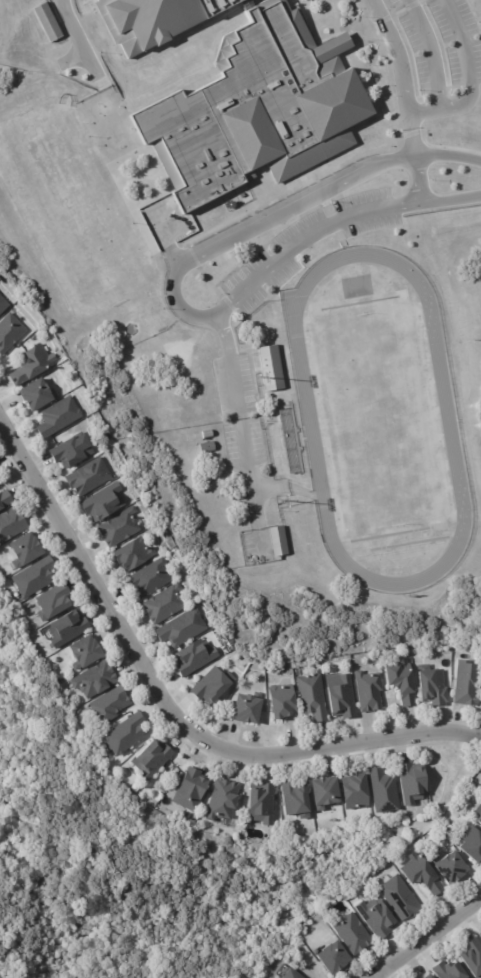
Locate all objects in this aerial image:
building: (46, 21)
road: (82, 39)
road: (425, 54)
road: (393, 56)
road: (471, 80)
building: (241, 94)
road: (414, 159)
road: (452, 200)
road: (287, 207)
park: (70, 208)
road: (309, 239)
road: (167, 243)
building: (2, 304)
building: (9, 332)
building: (31, 365)
building: (270, 368)
building: (35, 395)
building: (57, 417)
park: (378, 417)
road: (237, 432)
building: (206, 434)
building: (207, 448)
building: (71, 451)
building: (87, 477)
building: (5, 499)
building: (103, 502)
building: (11, 524)
building: (119, 527)
building: (278, 541)
building: (24, 551)
building: (133, 554)
building: (33, 578)
building: (149, 578)
building: (52, 602)
building: (164, 604)
building: (67, 629)
building: (181, 629)
building: (84, 653)
building: (194, 658)
building: (94, 680)
building: (402, 683)
building: (467, 684)
building: (212, 686)
building: (432, 688)
building: (368, 691)
building: (341, 696)
building: (311, 698)
building: (281, 703)
building: (108, 706)
road: (167, 709)
building: (246, 710)
building: (124, 735)
building: (151, 760)
building: (412, 783)
building: (190, 790)
building: (383, 792)
building: (355, 793)
building: (324, 794)
building: (222, 801)
building: (294, 801)
building: (262, 805)
building: (478, 811)
building: (479, 823)
building: (471, 846)
building: (449, 869)
building: (421, 876)
building: (399, 899)
building: (376, 920)
building: (479, 932)
building: (351, 934)
building: (480, 936)
road: (428, 942)
building: (331, 959)
building: (472, 959)
building: (447, 972)
building: (291, 975)
building: (427, 976)

